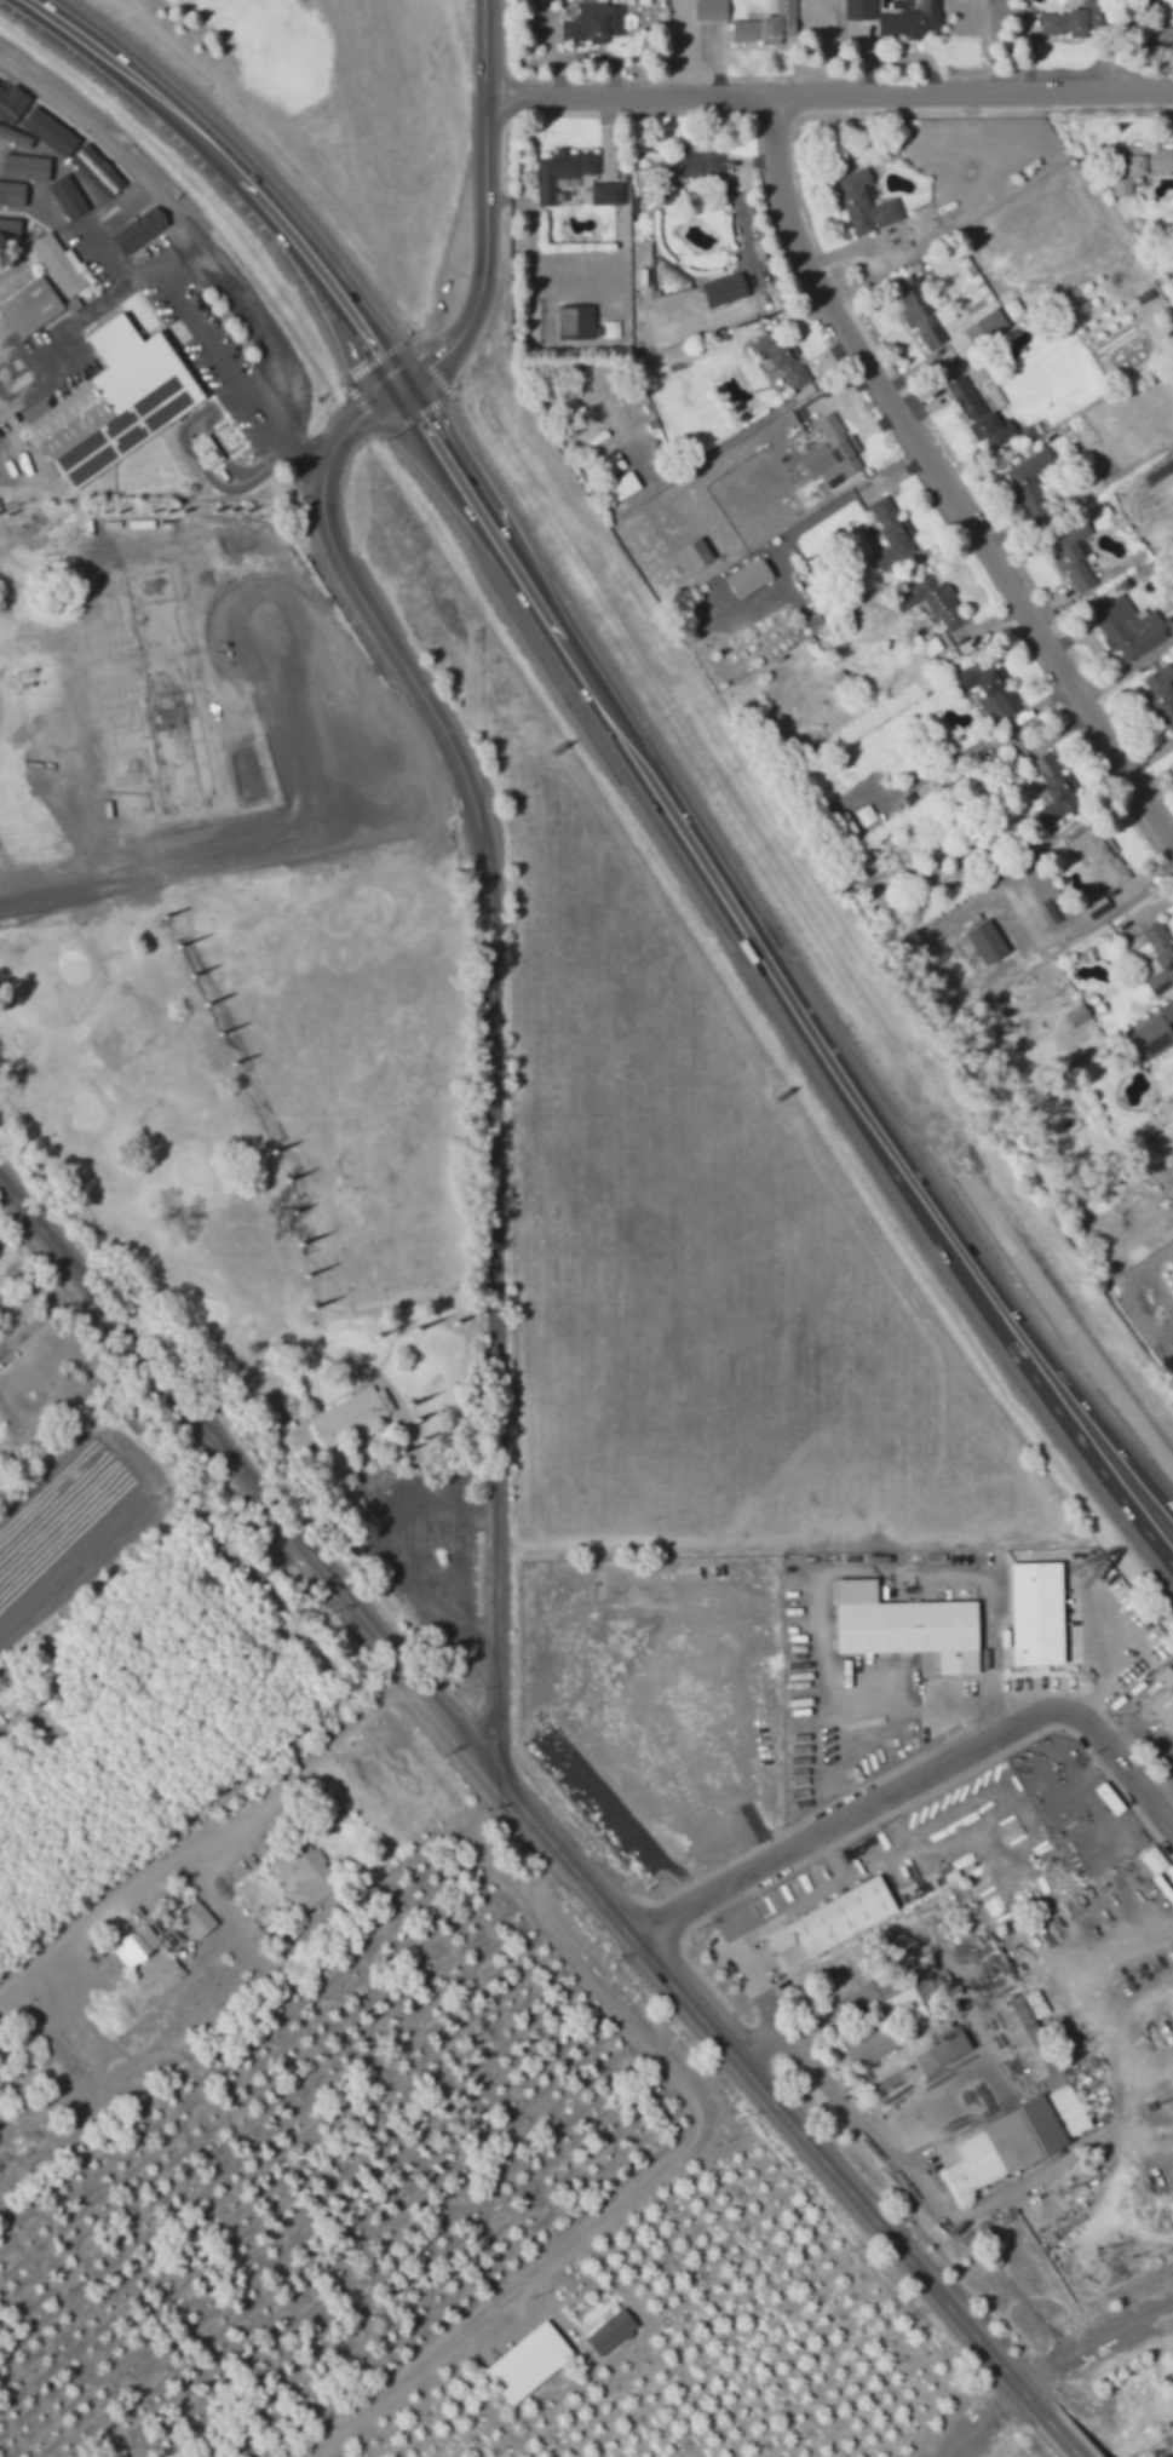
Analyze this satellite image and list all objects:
building: (712, 10)
building: (909, 19)
building: (1075, 19)
building: (593, 22)
building: (769, 25)
road: (827, 94)
road: (105, 140)
building: (27, 166)
building: (1138, 166)
building: (564, 170)
building: (97, 171)
road: (236, 171)
building: (608, 194)
building: (68, 196)
building: (868, 203)
road: (483, 209)
building: (10, 228)
building: (140, 229)
road: (109, 256)
building: (59, 263)
building: (17, 281)
building: (724, 288)
building: (31, 306)
road: (90, 309)
road: (243, 310)
building: (576, 322)
building: (985, 323)
building: (924, 325)
road: (211, 345)
building: (782, 358)
traffic signals: (398, 384)
building: (54, 395)
building: (115, 402)
building: (982, 409)
building: (207, 450)
road: (292, 450)
building: (839, 450)
road: (943, 477)
building: (1033, 484)
building: (621, 489)
building: (885, 511)
building: (1083, 533)
building: (895, 547)
building: (696, 555)
building: (1074, 566)
building: (749, 578)
building: (932, 601)
building: (1129, 627)
building: (990, 690)
building: (1161, 695)
road: (640, 763)
building: (1056, 788)
building: (1102, 856)
building: (1097, 906)
building: (987, 942)
building: (1160, 955)
road: (488, 1035)
building: (1154, 1037)
road: (965, 1279)
road: (1064, 1326)
road: (1024, 1330)
building: (352, 1416)
road: (1114, 1488)
building: (1034, 1606)
building: (901, 1619)
road: (150, 1667)
building: (16, 1694)
building: (1163, 1700)
road: (915, 1770)
road: (264, 1792)
road: (517, 1801)
building: (1154, 1860)
building: (310, 1875)
building: (827, 1917)
building: (199, 1919)
building: (137, 1946)
building: (926, 1981)
building: (898, 1994)
building: (1024, 2033)
building: (867, 2039)
building: (947, 2042)
building: (1013, 2131)
road: (628, 2181)
building: (611, 2331)
building: (523, 2356)
road: (1043, 2361)
road: (1062, 2436)

